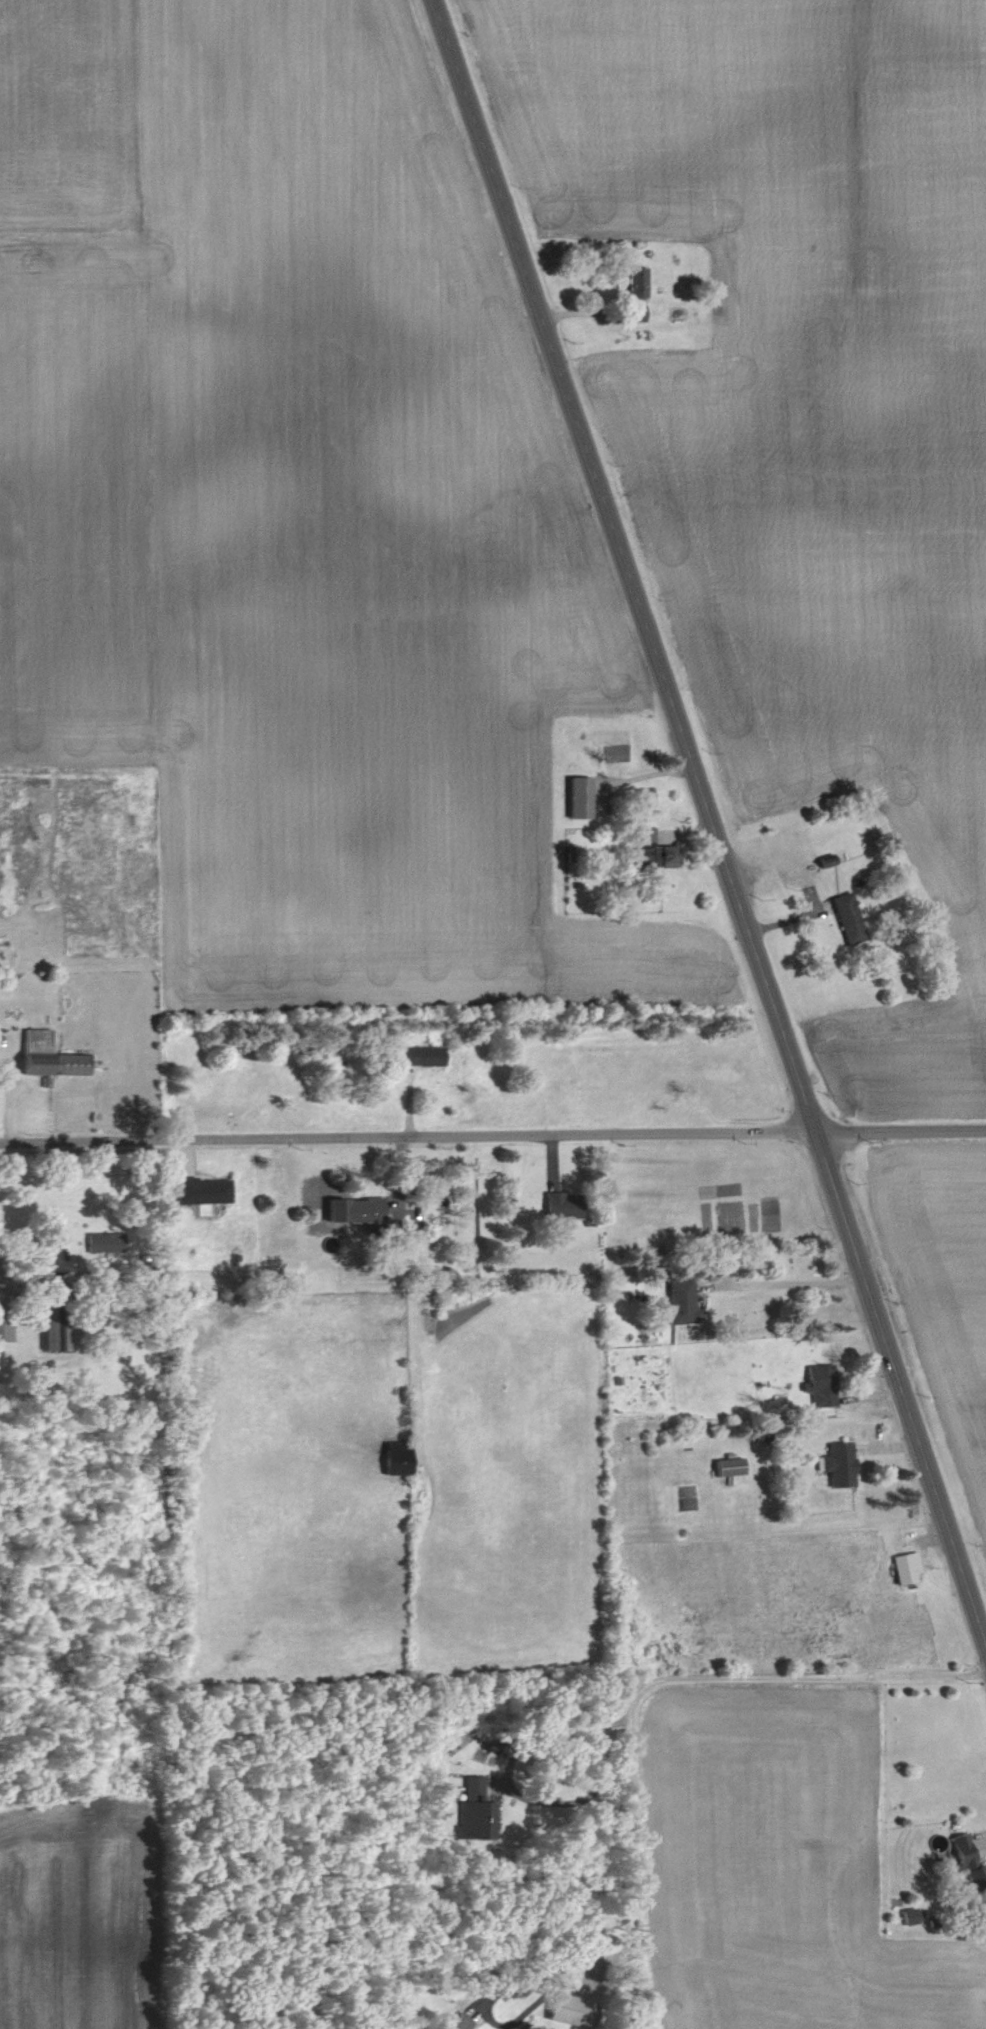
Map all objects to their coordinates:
building: (635, 293)
building: (707, 337)
building: (640, 794)
building: (577, 796)
road: (710, 824)
building: (650, 850)
building: (847, 918)
building: (86, 984)
building: (34, 1051)
building: (421, 1055)
building: (70, 1064)
road: (492, 1136)
building: (201, 1190)
building: (561, 1205)
building: (363, 1213)
road: (785, 1271)
road: (31, 1275)
building: (678, 1302)
building: (4, 1312)
building: (51, 1316)
building: (819, 1384)
building: (394, 1458)
building: (837, 1464)
building: (727, 1467)
building: (904, 1563)
road: (657, 1677)
road: (506, 1775)
building: (474, 1812)
building: (968, 1864)
building: (907, 1916)
building: (569, 2011)
road: (487, 2017)
building: (456, 2022)

